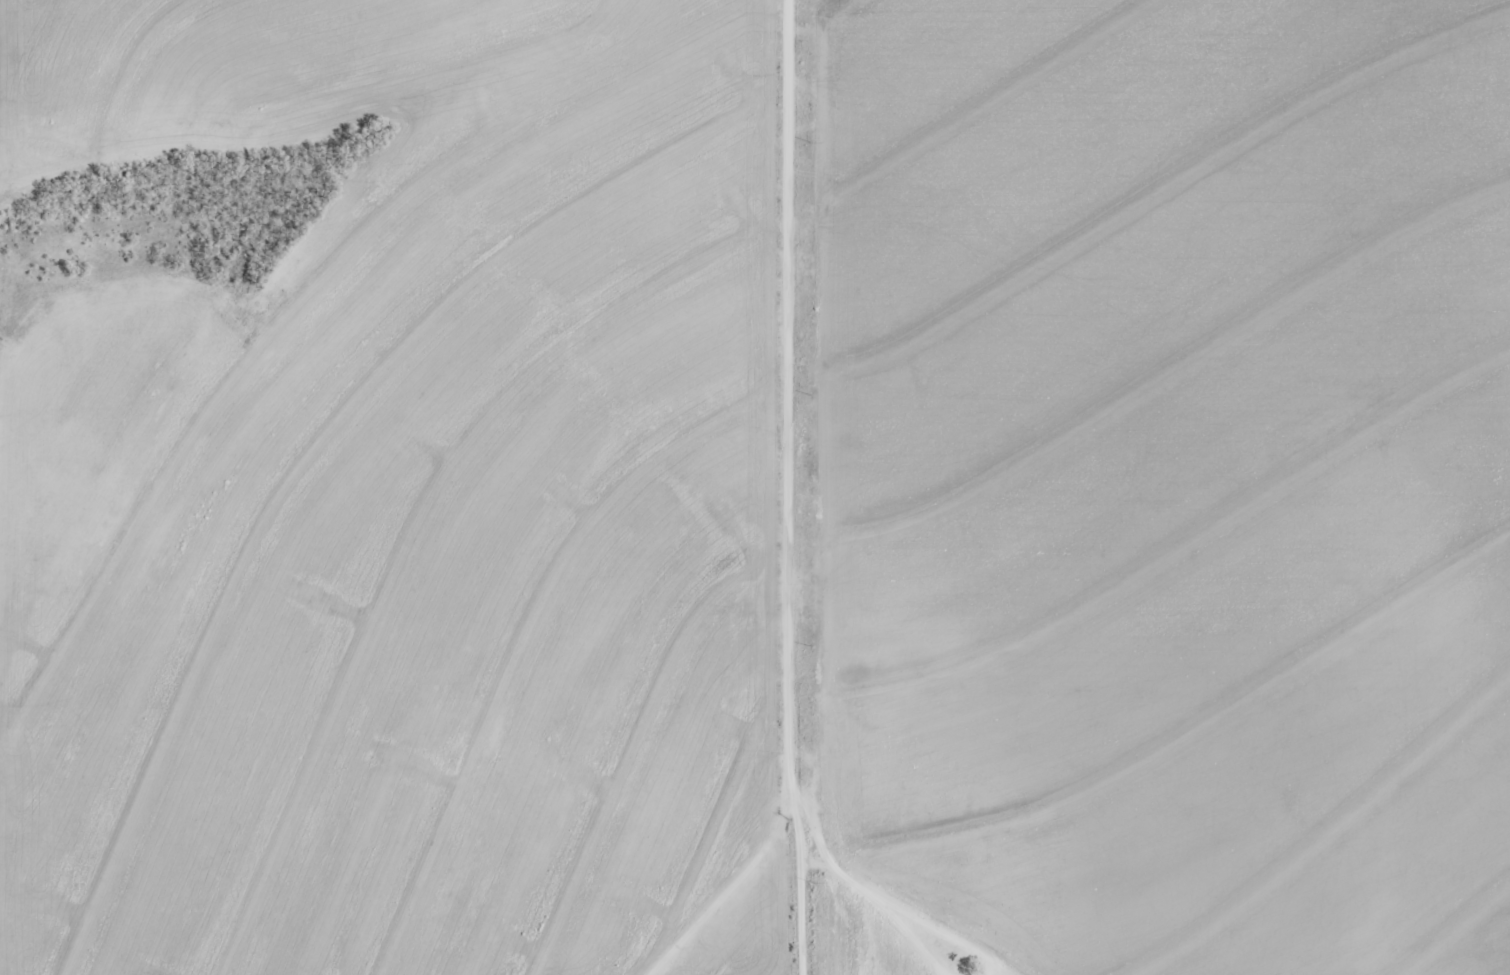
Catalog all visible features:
road: (745, 530)
road: (662, 870)

